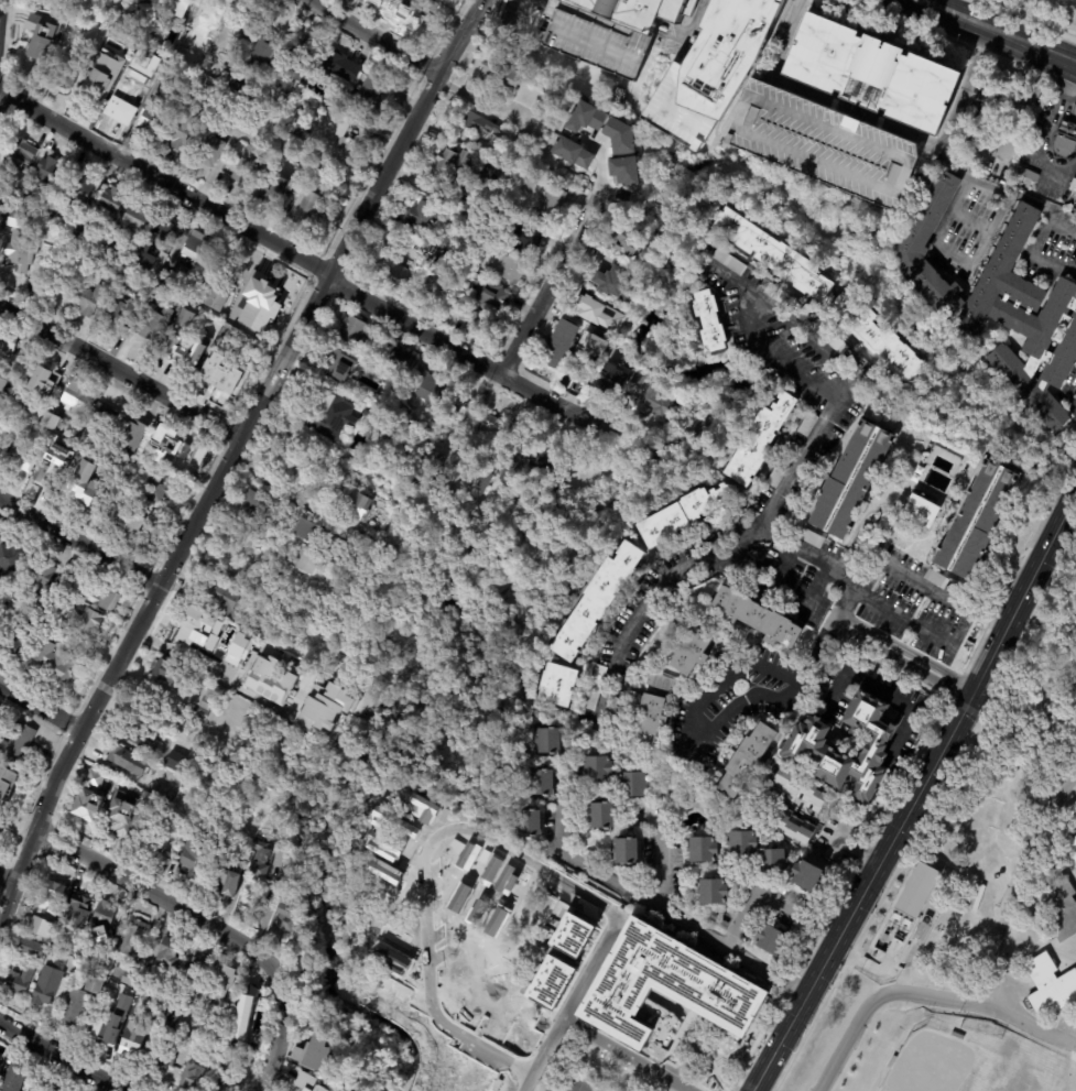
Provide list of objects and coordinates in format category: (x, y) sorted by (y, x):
building: (150, 2)
building: (428, 3)
building: (391, 6)
building: (178, 7)
building: (215, 9)
park: (0, 11)
park: (1042, 13)
road: (1, 14)
road: (1015, 14)
building: (157, 17)
road: (933, 18)
building: (407, 19)
building: (196, 22)
building: (70, 23)
road: (1012, 25)
building: (40, 26)
building: (244, 28)
building: (606, 29)
road: (1065, 30)
building: (112, 35)
road: (371, 36)
road: (1063, 36)
building: (192, 39)
building: (63, 41)
road: (995, 42)
building: (261, 50)
building: (146, 58)
building: (301, 58)
road: (1041, 61)
building: (34, 63)
building: (225, 67)
building: (336, 68)
building: (711, 68)
building: (871, 73)
road: (1074, 73)
building: (148, 74)
building: (64, 75)
building: (500, 75)
building: (530, 80)
building: (97, 81)
building: (175, 81)
building: (282, 86)
building: (192, 90)
building: (214, 90)
building: (129, 94)
building: (368, 97)
building: (341, 102)
building: (1015, 107)
road: (870, 116)
building: (239, 117)
building: (150, 121)
building: (478, 124)
building: (601, 127)
building: (1066, 128)
building: (181, 132)
building: (300, 133)
road: (404, 135)
road: (1045, 135)
building: (983, 141)
building: (494, 142)
building: (818, 142)
parking lot: (818, 142)
building: (337, 144)
building: (1062, 144)
building: (208, 149)
building: (572, 153)
building: (22, 156)
building: (268, 156)
building: (244, 165)
building: (456, 165)
building: (50, 171)
building: (623, 172)
building: (1026, 174)
road: (165, 182)
building: (1073, 186)
building: (269, 189)
building: (81, 192)
road: (1011, 195)
parking lot: (1075, 199)
building: (112, 205)
building: (548, 207)
building: (303, 209)
building: (466, 210)
building: (928, 212)
building: (53, 215)
building: (421, 216)
building: (59, 217)
building: (138, 219)
building: (23, 220)
road: (1062, 228)
building: (59, 240)
building: (524, 240)
building: (439, 241)
building: (624, 242)
building: (196, 246)
building: (148, 249)
building: (22, 251)
building: (692, 253)
road: (1039, 253)
building: (772, 255)
building: (428, 257)
building: (728, 261)
building: (252, 263)
building: (444, 268)
building: (508, 268)
building: (391, 277)
building: (129, 280)
building: (77, 281)
building: (166, 281)
building: (612, 284)
building: (261, 285)
road: (548, 286)
building: (775, 294)
building: (491, 296)
building: (219, 297)
building: (91, 301)
building: (119, 310)
building: (595, 310)
building: (184, 318)
building: (232, 319)
building: (475, 321)
building: (710, 321)
building: (1025, 321)
building: (156, 324)
building: (354, 335)
building: (832, 339)
building: (877, 341)
building: (558, 343)
building: (8, 345)
building: (589, 349)
building: (615, 352)
building: (180, 353)
building: (401, 361)
building: (341, 364)
road: (485, 366)
road: (120, 369)
building: (584, 377)
building: (233, 379)
building: (50, 382)
building: (637, 383)
building: (604, 385)
building: (430, 388)
building: (3, 390)
building: (77, 397)
building: (656, 404)
building: (19, 408)
road: (1073, 408)
building: (452, 413)
building: (338, 415)
building: (104, 419)
building: (54, 423)
building: (424, 424)
building: (808, 424)
building: (78, 436)
building: (131, 437)
building: (485, 437)
building: (758, 440)
building: (172, 445)
building: (145, 451)
building: (28, 455)
building: (513, 457)
road: (798, 463)
building: (550, 466)
building: (426, 467)
building: (780, 470)
building: (850, 480)
building: (482, 481)
building: (85, 488)
building: (155, 489)
road: (1075, 492)
building: (355, 503)
building: (256, 506)
building: (921, 511)
building: (683, 516)
building: (976, 521)
building: (887, 522)
building: (138, 527)
building: (4, 537)
building: (809, 539)
road: (79, 542)
building: (337, 547)
building: (12, 558)
road: (779, 569)
building: (41, 578)
road: (665, 578)
road: (906, 579)
building: (934, 579)
building: (78, 586)
road: (816, 591)
road: (155, 592)
building: (107, 599)
building: (594, 602)
building: (46, 608)
building: (235, 609)
road: (901, 615)
building: (757, 619)
building: (90, 622)
building: (207, 624)
building: (12, 640)
road: (185, 648)
building: (241, 648)
building: (691, 654)
building: (57, 662)
building: (163, 670)
building: (271, 679)
building: (660, 681)
building: (556, 685)
building: (595, 687)
road: (887, 699)
road: (40, 706)
building: (204, 708)
building: (324, 708)
building: (650, 720)
road: (714, 723)
building: (140, 738)
building: (19, 742)
building: (544, 743)
building: (806, 748)
building: (124, 760)
building: (175, 761)
building: (747, 761)
building: (597, 770)
building: (9, 783)
building: (540, 786)
building: (630, 786)
building: (96, 789)
building: (157, 792)
building: (798, 792)
road: (915, 793)
building: (1073, 809)
park: (414, 810)
building: (123, 816)
building: (599, 818)
building: (2, 826)
building: (526, 826)
building: (792, 827)
building: (157, 842)
building: (741, 843)
building: (1072, 847)
road: (861, 848)
building: (702, 851)
building: (624, 853)
building: (188, 862)
building: (259, 862)
building: (772, 862)
road: (660, 868)
building: (805, 877)
building: (224, 879)
road: (7, 880)
road: (1011, 885)
building: (713, 894)
road: (161, 897)
road: (627, 898)
building: (907, 905)
building: (45, 909)
building: (1062, 909)
building: (78, 910)
building: (284, 912)
building: (104, 916)
building: (922, 928)
building: (570, 935)
building: (133, 937)
building: (771, 942)
building: (30, 948)
building: (287, 950)
building: (164, 953)
building: (99, 963)
road: (1075, 964)
road: (431, 965)
building: (195, 972)
road: (902, 973)
building: (123, 977)
building: (19, 981)
building: (219, 982)
building: (673, 985)
building: (48, 986)
building: (1050, 986)
road: (927, 995)
building: (77, 1001)
road: (572, 1002)
building: (152, 1011)
building: (243, 1012)
building: (170, 1022)
building: (99, 1030)
building: (188, 1035)
road: (280, 1035)
building: (959, 1037)
building: (239, 1038)
building: (132, 1044)
building: (313, 1052)
road: (630, 1054)
park: (950, 1054)
road: (66, 1056)
building: (214, 1056)
building: (235, 1056)
building: (0, 1060)
building: (163, 1063)
building: (890, 1065)
building: (471, 1068)
building: (191, 1073)
building: (15, 1079)
building: (307, 1082)
building: (580, 1085)
building: (225, 1087)
building: (39, 1089)
building: (449, 1089)

